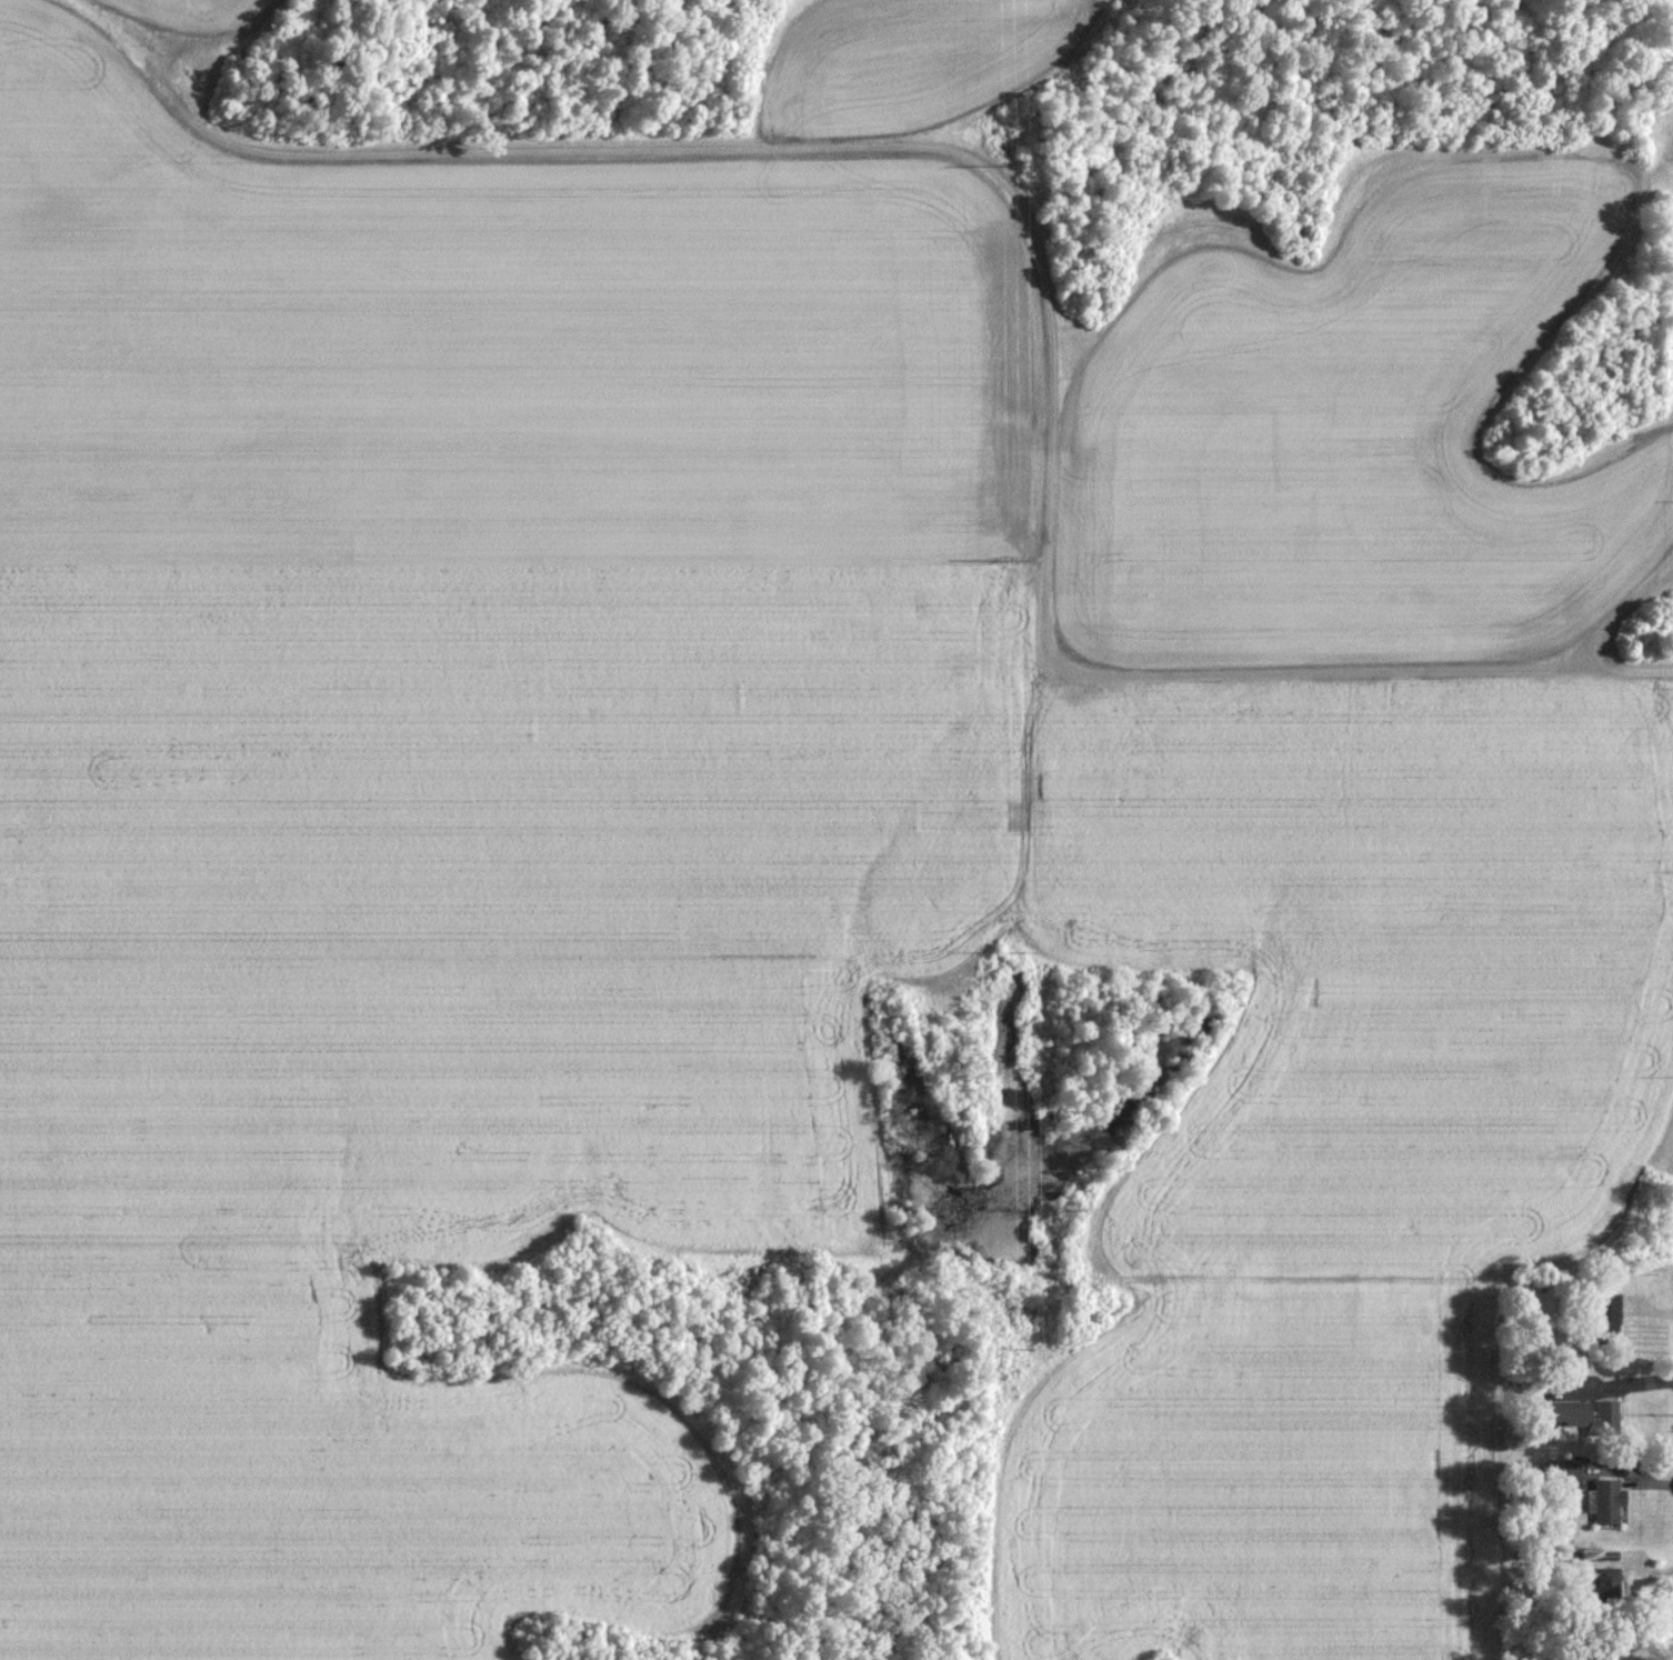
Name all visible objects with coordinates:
building: (1609, 1314)
building: (1581, 1413)
building: (1561, 1469)
building: (1606, 1499)
building: (1605, 1580)

